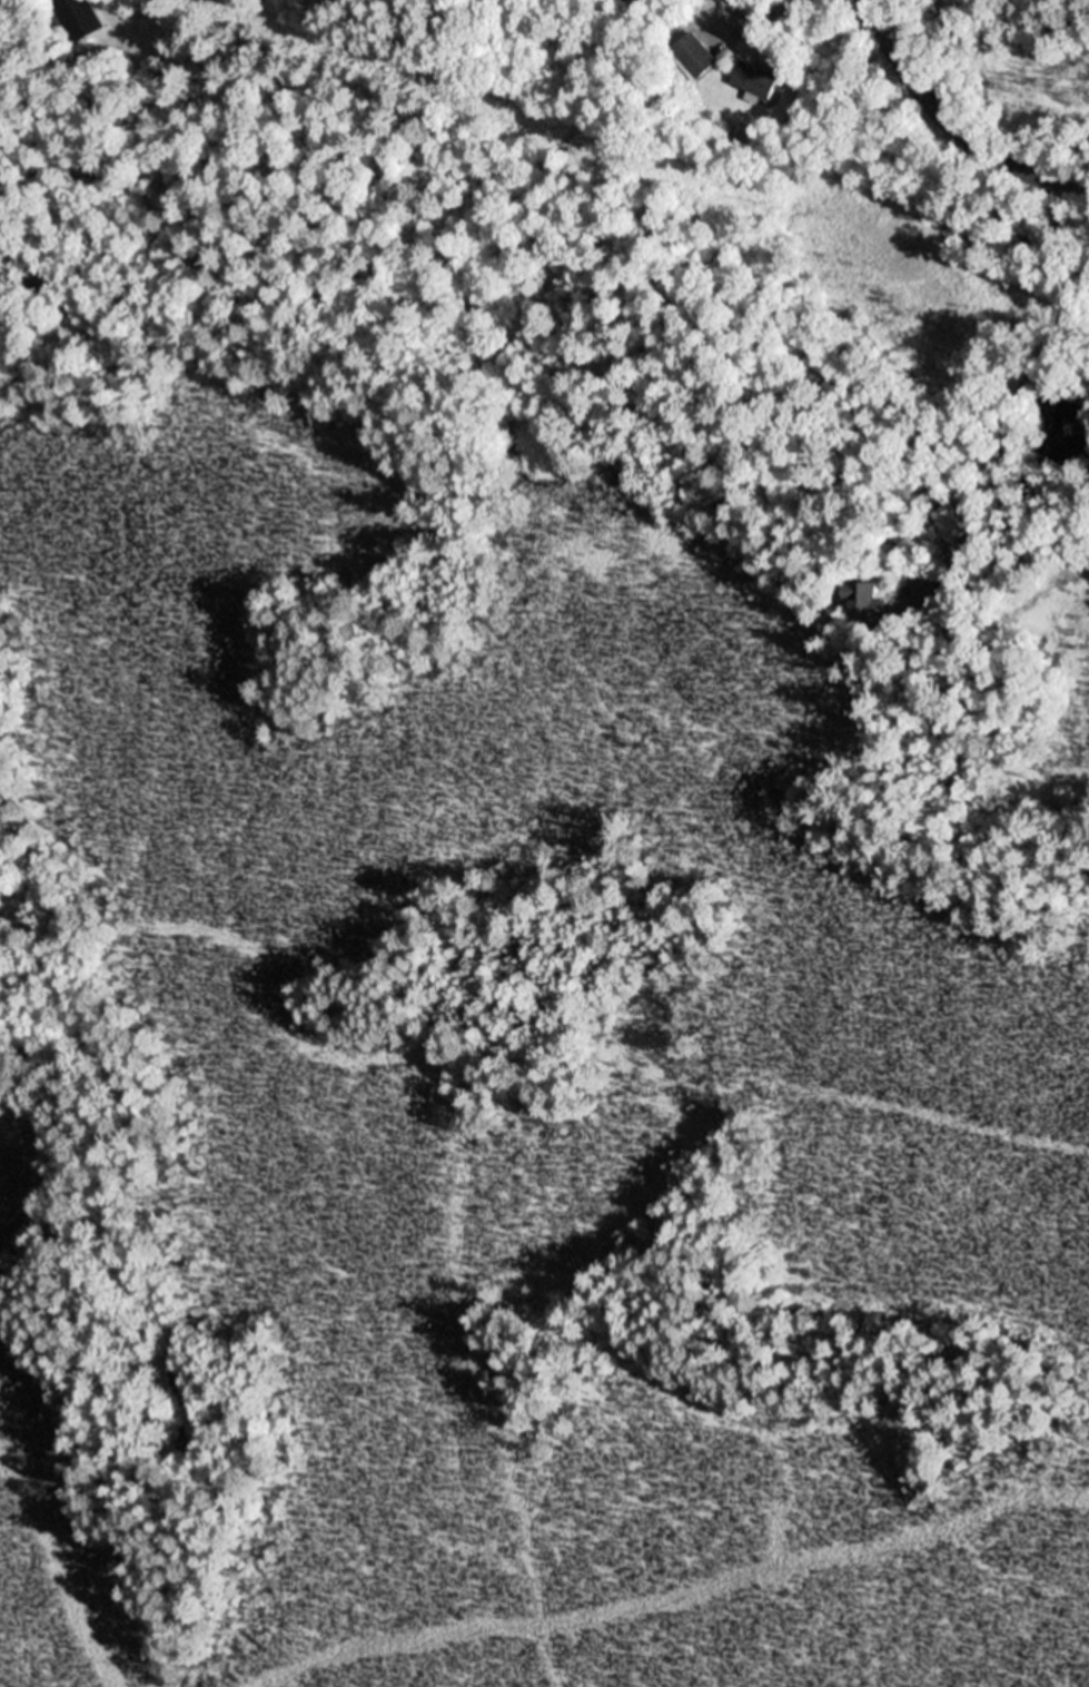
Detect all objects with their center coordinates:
building: (1, 0)
building: (85, 16)
road: (913, 19)
building: (693, 56)
building: (756, 79)
road: (951, 127)
building: (868, 601)

